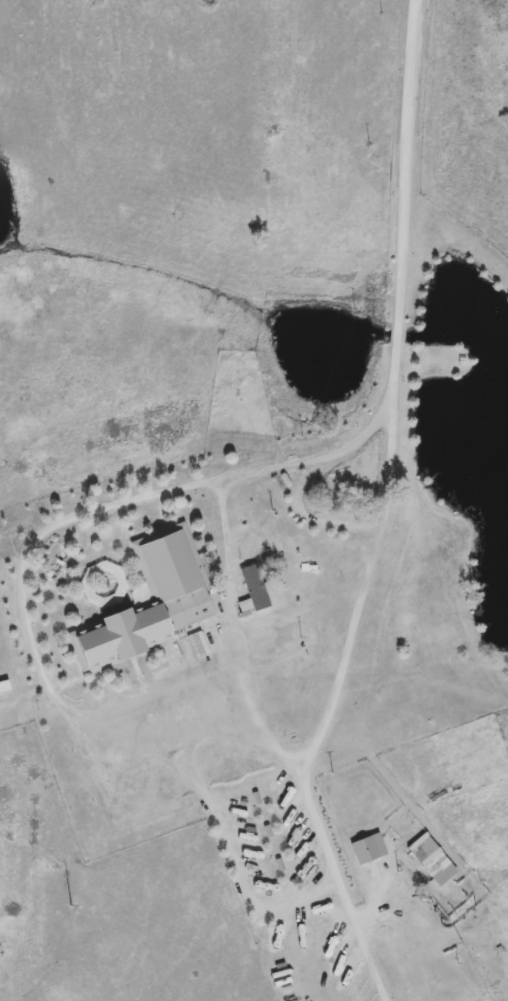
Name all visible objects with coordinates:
road: (405, 200)
building: (260, 589)
road: (371, 592)
road: (243, 602)
building: (155, 604)
road: (44, 680)
road: (229, 846)
building: (435, 862)

